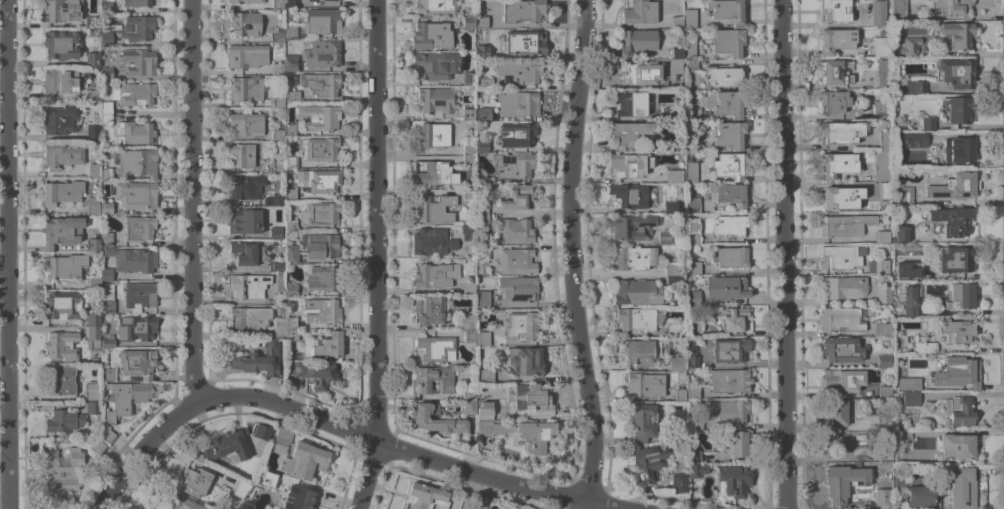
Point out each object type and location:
building: (324, 0)
building: (246, 1)
building: (489, 2)
building: (137, 3)
building: (291, 3)
building: (278, 4)
building: (106, 6)
building: (435, 6)
building: (953, 6)
building: (898, 8)
building: (62, 9)
building: (727, 9)
building: (522, 10)
building: (836, 10)
building: (640, 11)
building: (879, 12)
building: (288, 14)
building: (690, 17)
building: (323, 20)
building: (92, 21)
building: (482, 21)
building: (677, 21)
building: (468, 22)
building: (245, 23)
building: (138, 27)
building: (291, 31)
building: (278, 34)
building: (956, 34)
building: (432, 35)
building: (106, 38)
building: (836, 39)
building: (518, 40)
building: (638, 40)
building: (728, 41)
building: (62, 44)
building: (881, 46)
building: (911, 46)
building: (689, 47)
building: (481, 52)
building: (678, 52)
building: (323, 53)
building: (248, 55)
building: (93, 58)
building: (139, 61)
building: (292, 63)
building: (692, 64)
building: (436, 65)
building: (278, 69)
building: (520, 71)
building: (836, 71)
building: (108, 72)
building: (631, 72)
building: (956, 72)
building: (885, 73)
building: (722, 75)
building: (675, 76)
building: (278, 77)
building: (468, 78)
building: (59, 81)
building: (319, 83)
building: (483, 83)
building: (916, 86)
building: (247, 88)
building: (136, 93)
building: (292, 95)
building: (93, 96)
building: (279, 98)
building: (436, 100)
building: (834, 100)
building: (726, 102)
building: (518, 103)
building: (631, 103)
building: (106, 107)
building: (879, 109)
building: (958, 110)
building: (668, 111)
building: (469, 113)
building: (484, 113)
building: (692, 113)
building: (320, 116)
building: (106, 118)
building: (60, 119)
building: (247, 123)
building: (928, 123)
building: (290, 129)
building: (93, 131)
building: (842, 131)
building: (135, 132)
building: (628, 132)
building: (517, 133)
building: (278, 134)
building: (730, 134)
building: (434, 135)
building: (884, 138)
building: (913, 138)
building: (691, 139)
building: (483, 146)
building: (468, 148)
building: (321, 149)
building: (958, 149)
building: (242, 154)
building: (62, 155)
building: (469, 159)
building: (291, 160)
building: (139, 161)
building: (838, 163)
building: (514, 164)
building: (630, 164)
building: (730, 164)
building: (882, 165)
building: (276, 166)
building: (94, 168)
building: (691, 170)
building: (106, 174)
building: (436, 174)
building: (669, 174)
building: (481, 175)
building: (319, 180)
building: (955, 186)
building: (244, 187)
building: (885, 189)
building: (62, 192)
building: (291, 193)
building: (728, 193)
building: (135, 194)
building: (468, 194)
building: (630, 194)
building: (906, 195)
building: (518, 197)
building: (843, 197)
building: (278, 198)
road: (192, 203)
building: (93, 205)
building: (694, 205)
building: (106, 207)
building: (670, 207)
building: (434, 208)
building: (482, 208)
building: (321, 213)
building: (482, 218)
building: (953, 219)
road: (375, 220)
building: (244, 221)
building: (730, 224)
building: (844, 224)
building: (291, 225)
building: (630, 225)
building: (139, 227)
building: (277, 229)
building: (516, 230)
building: (63, 231)
building: (467, 231)
building: (694, 232)
building: (901, 233)
building: (880, 236)
building: (667, 237)
building: (106, 238)
building: (94, 239)
building: (432, 242)
building: (321, 245)
building: (244, 252)
building: (482, 252)
road: (576, 252)
building: (292, 253)
road: (7, 254)
road: (784, 254)
building: (731, 256)
building: (840, 256)
building: (633, 257)
building: (955, 258)
building: (132, 259)
building: (517, 260)
building: (66, 265)
building: (276, 266)
building: (695, 266)
building: (880, 267)
building: (672, 268)
building: (909, 268)
building: (107, 274)
building: (435, 274)
building: (321, 279)
building: (676, 280)
building: (876, 280)
building: (95, 282)
building: (249, 285)
building: (844, 286)
building: (469, 287)
building: (726, 287)
building: (518, 288)
building: (291, 289)
building: (279, 291)
building: (637, 291)
building: (884, 294)
building: (139, 295)
building: (960, 296)
building: (693, 297)
building: (108, 298)
building: (483, 298)
building: (910, 300)
building: (62, 304)
building: (430, 309)
building: (323, 310)
building: (732, 317)
building: (93, 318)
building: (250, 318)
building: (637, 318)
building: (841, 319)
building: (466, 321)
building: (291, 322)
building: (522, 325)
building: (280, 326)
building: (136, 327)
building: (694, 327)
building: (883, 328)
building: (673, 330)
building: (957, 330)
building: (292, 334)
building: (470, 335)
building: (94, 337)
building: (484, 338)
building: (108, 341)
building: (62, 345)
building: (326, 346)
building: (924, 347)
building: (436, 348)
building: (730, 348)
building: (841, 349)
building: (641, 350)
building: (692, 357)
building: (259, 359)
building: (528, 359)
building: (884, 360)
building: (137, 362)
building: (677, 362)
building: (959, 372)
building: (108, 373)
building: (316, 373)
building: (486, 375)
building: (433, 378)
building: (60, 379)
building: (836, 379)
building: (730, 380)
building: (909, 383)
building: (644, 385)
building: (694, 391)
building: (885, 391)
building: (469, 393)
building: (680, 393)
building: (126, 397)
building: (531, 398)
building: (911, 398)
building: (470, 406)
building: (93, 408)
building: (484, 408)
building: (728, 410)
building: (959, 410)
building: (837, 412)
building: (436, 419)
building: (64, 420)
building: (642, 420)
building: (884, 420)
building: (696, 423)
building: (262, 430)
building: (107, 432)
building: (678, 432)
building: (534, 437)
building: (902, 437)
building: (282, 439)
building: (227, 442)
building: (733, 442)
building: (94, 445)
building: (957, 446)
road: (145, 449)
road: (411, 450)
building: (694, 456)
building: (305, 460)
building: (647, 462)
building: (696, 470)
building: (63, 474)
building: (260, 474)
road: (370, 475)
building: (733, 480)
building: (900, 480)
building: (195, 481)
building: (680, 482)
building: (837, 484)
building: (890, 484)
building: (963, 488)
building: (242, 489)
building: (921, 495)
building: (881, 496)
building: (426, 497)
building: (299, 498)
building: (177, 502)
road: (586, 506)

